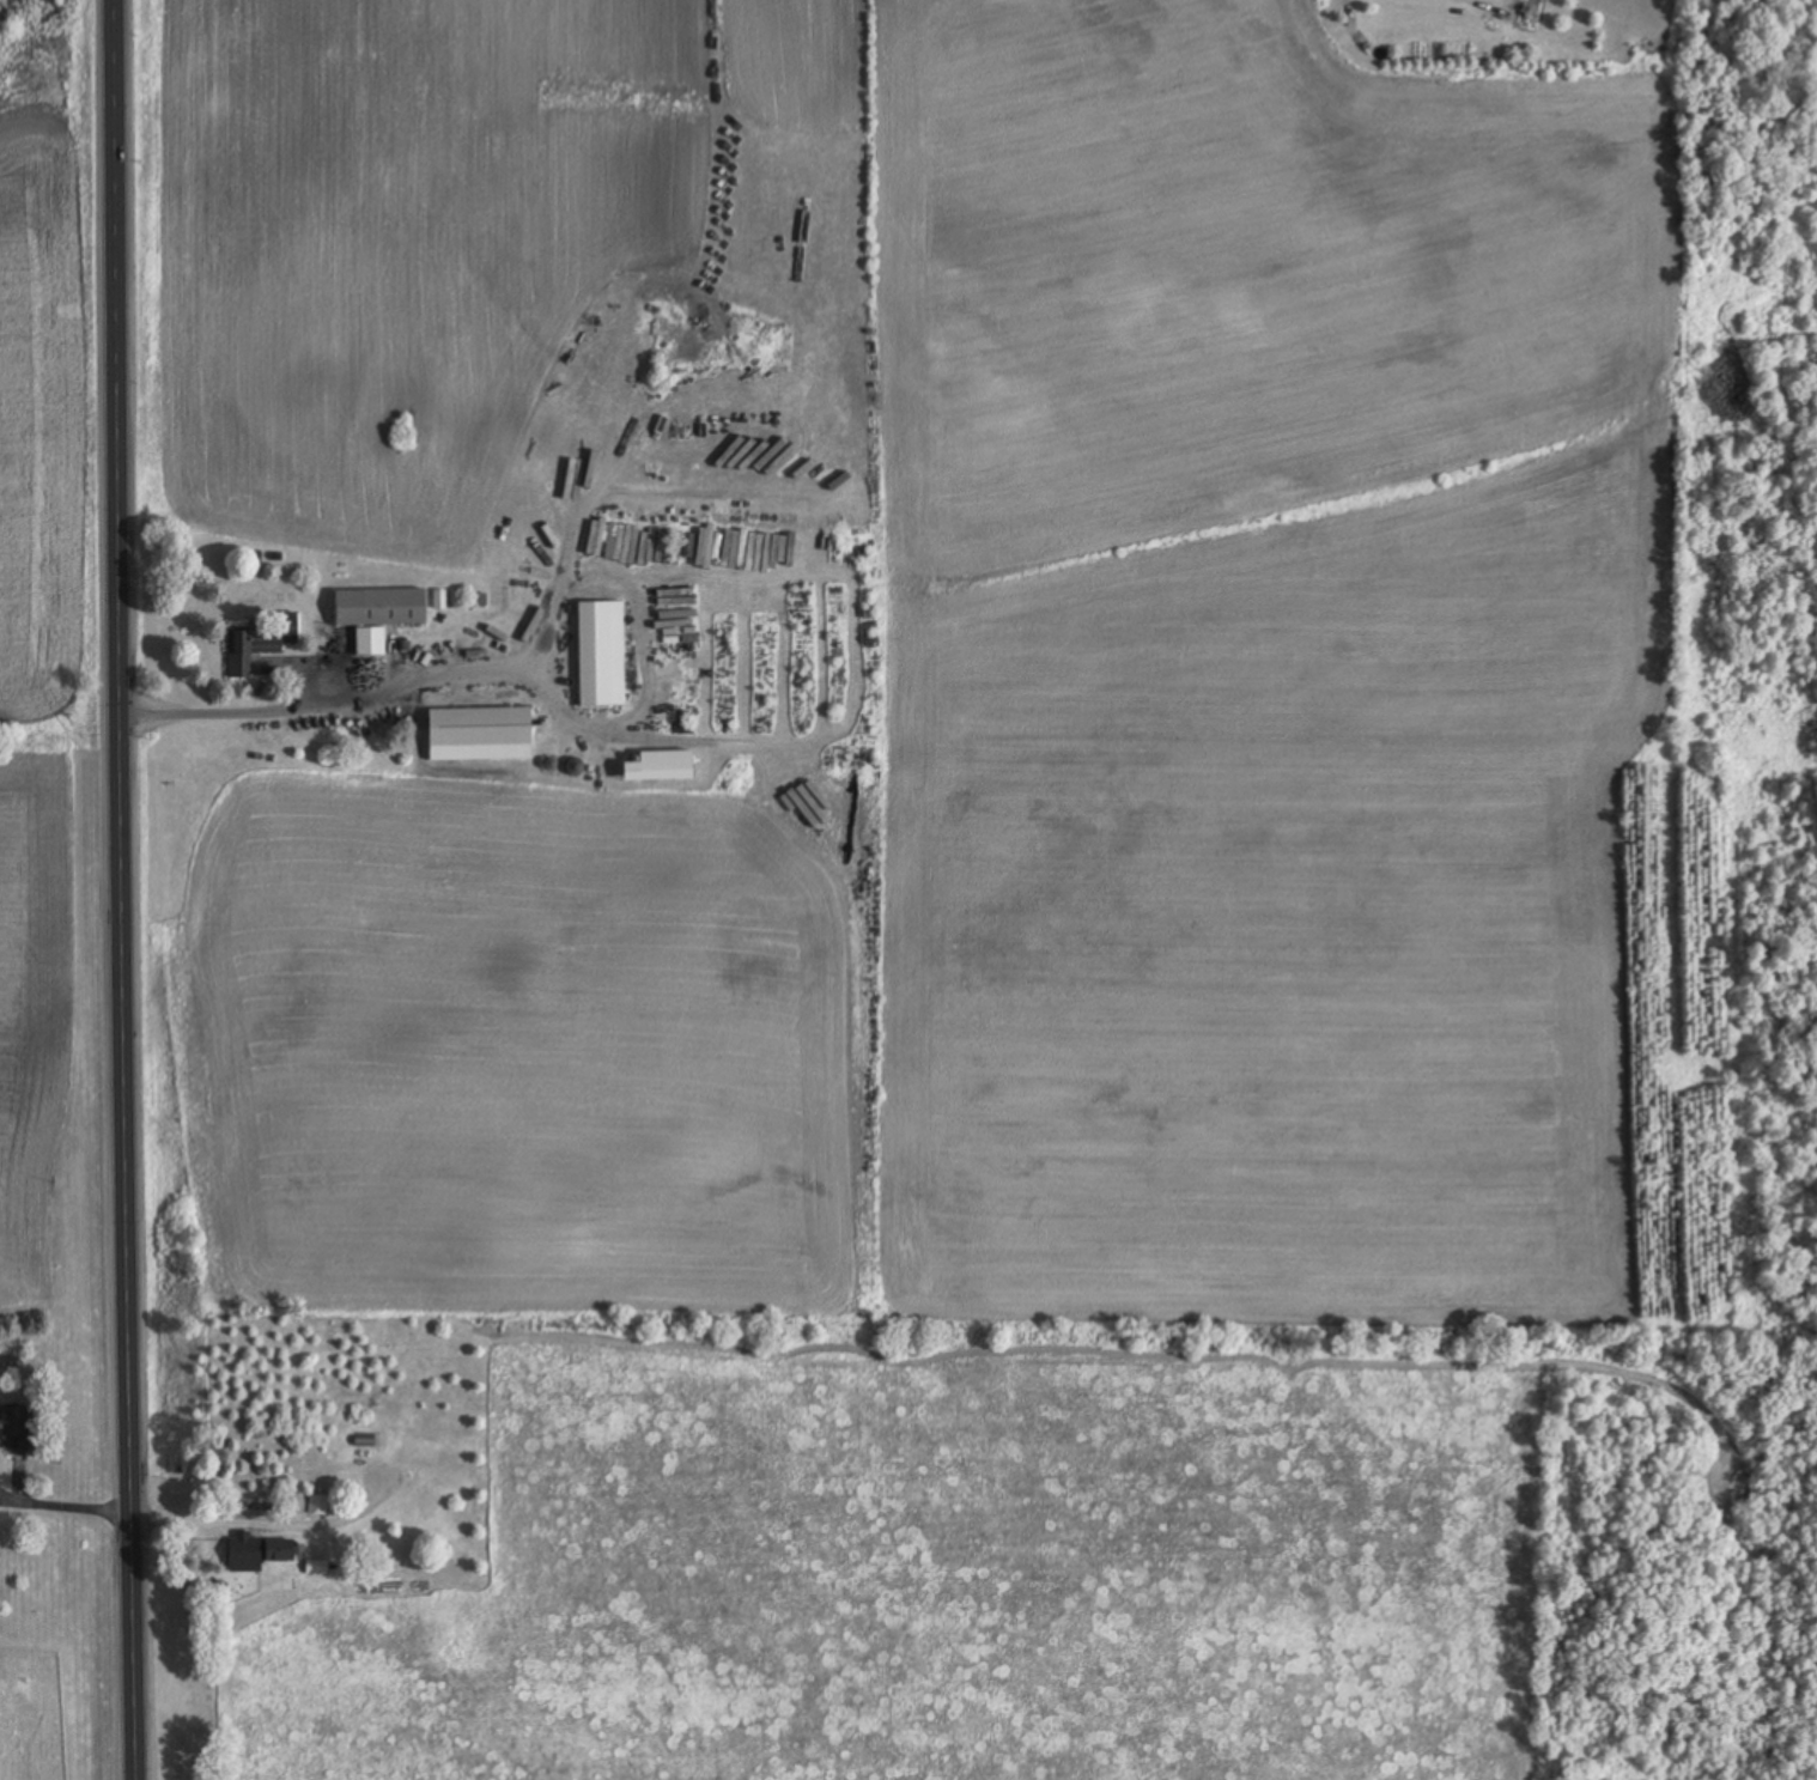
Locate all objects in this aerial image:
building: (378, 616)
building: (259, 639)
building: (602, 655)
building: (480, 735)
building: (662, 769)
road: (122, 889)
building: (17, 1432)
building: (375, 1444)
building: (425, 1460)
building: (317, 1506)
road: (69, 1509)
road: (262, 1524)
building: (281, 1553)

